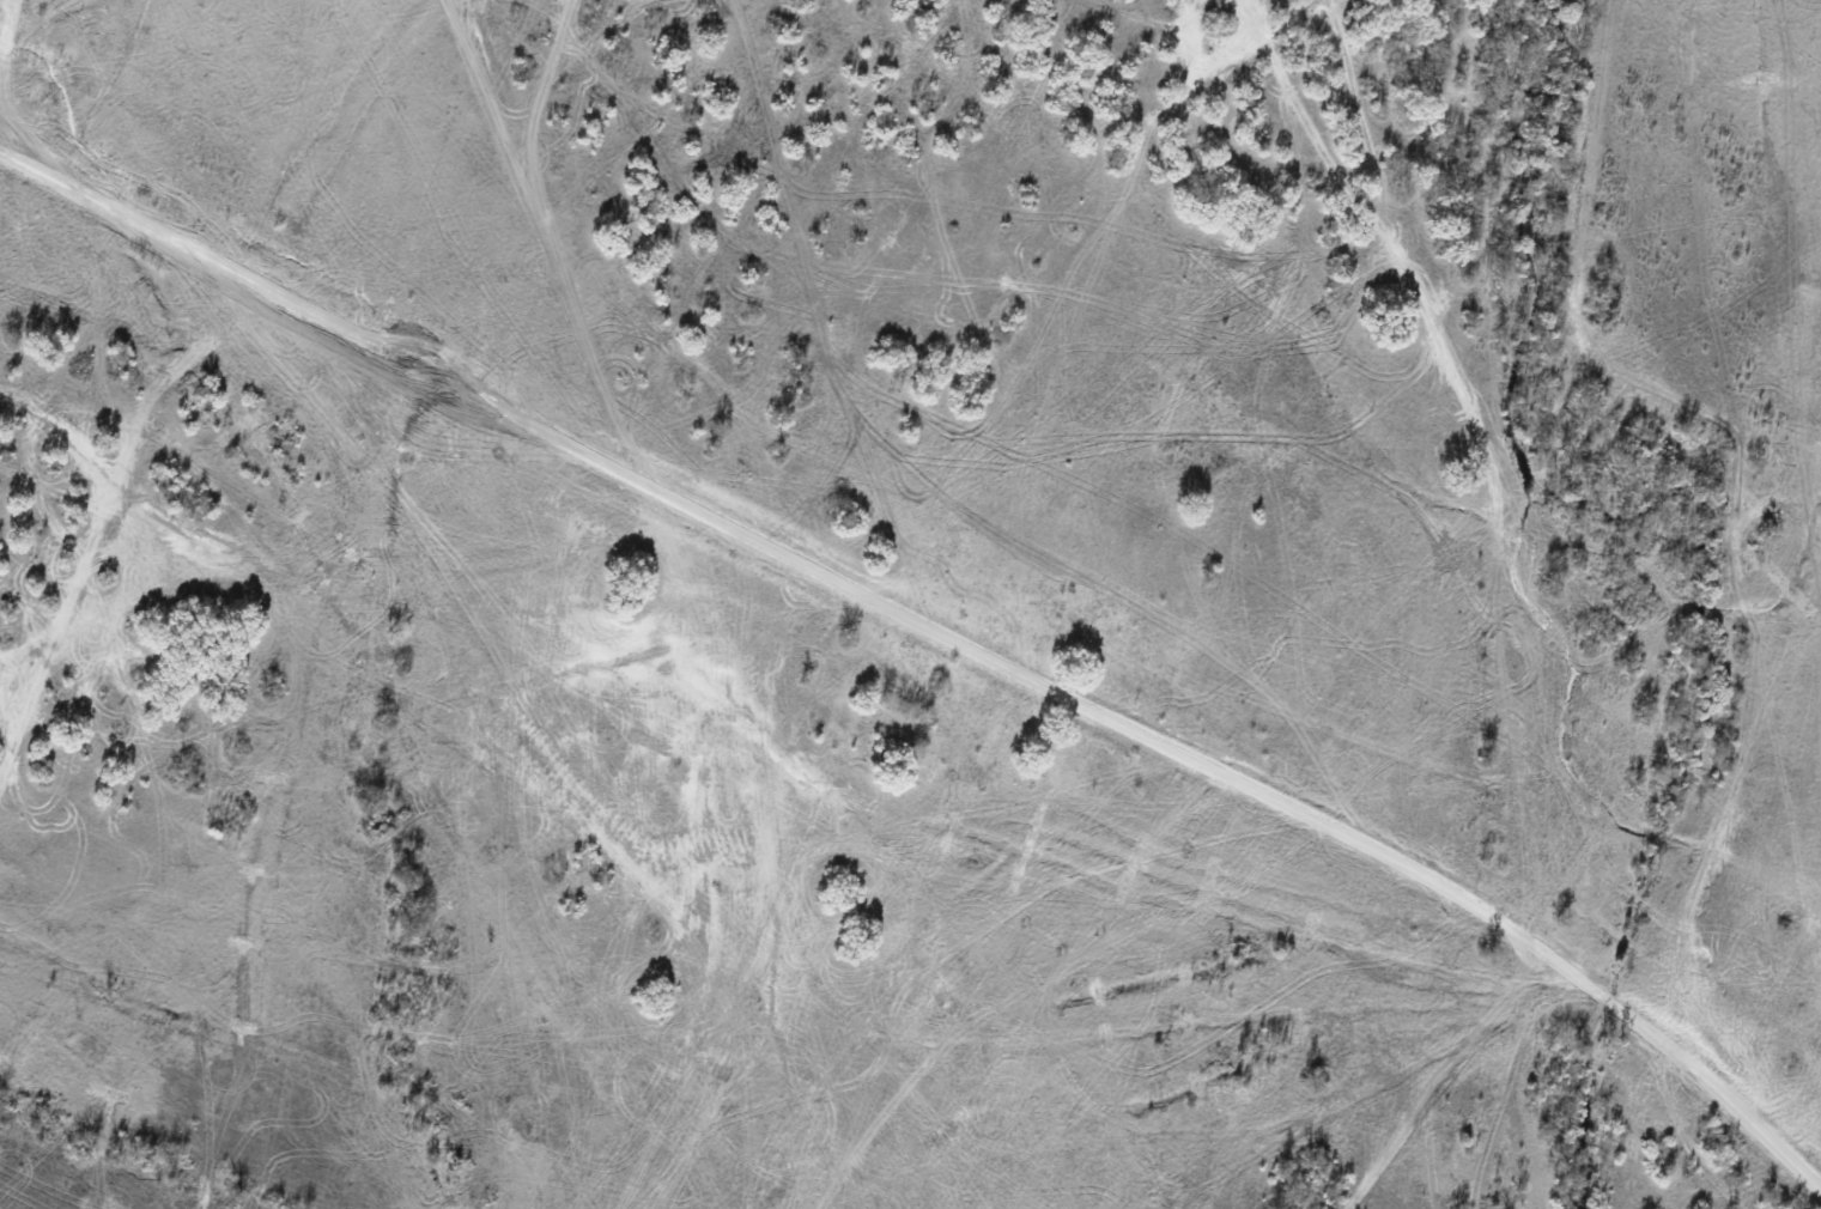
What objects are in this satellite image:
road: (939, 622)

